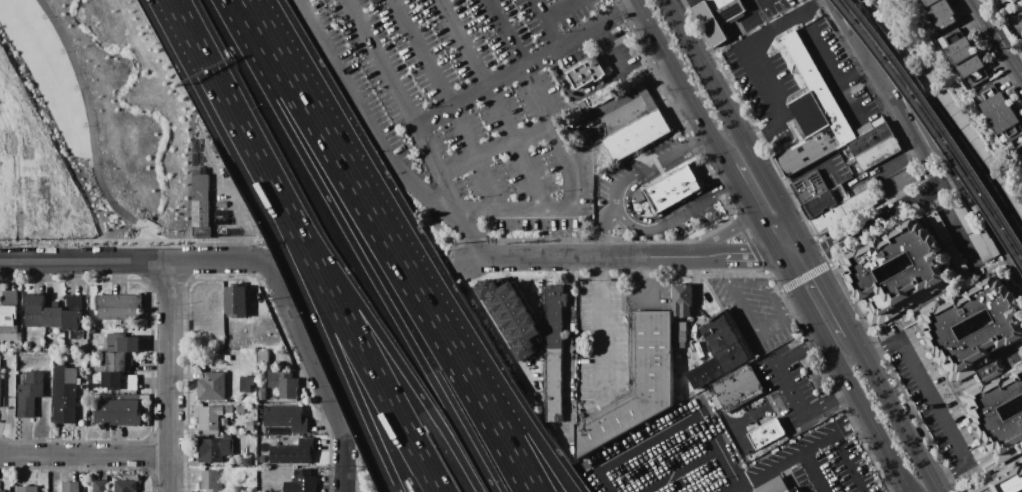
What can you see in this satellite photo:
road: (759, 0)
building: (1016, 0)
building: (1001, 2)
road: (679, 3)
road: (762, 7)
road: (562, 11)
building: (942, 13)
street lamp: (43, 18)
building: (718, 18)
road: (547, 25)
road: (770, 33)
road: (998, 36)
park: (906, 41)
road: (607, 51)
street lamp: (62, 53)
building: (966, 57)
road: (529, 67)
road: (854, 67)
building: (587, 73)
road: (526, 77)
road: (682, 83)
road: (295, 87)
street lamp: (75, 90)
road: (891, 92)
road: (575, 96)
road: (496, 102)
parking lot: (479, 103)
road: (448, 104)
building: (583, 105)
building: (997, 109)
building: (813, 114)
railway: (933, 123)
crop: (78, 125)
building: (635, 125)
street lamp: (85, 127)
building: (869, 127)
road: (741, 129)
road: (419, 130)
railway: (927, 131)
road: (92, 136)
road: (942, 138)
building: (870, 140)
road: (495, 146)
road: (251, 149)
building: (1021, 149)
building: (878, 154)
building: (1020, 159)
street lamp: (88, 164)
road: (654, 164)
road: (805, 170)
road: (976, 175)
road: (956, 177)
road: (420, 182)
building: (810, 187)
building: (674, 189)
road: (904, 189)
building: (639, 198)
street lamp: (103, 202)
building: (826, 202)
building: (859, 202)
building: (201, 204)
road: (371, 212)
road: (755, 212)
building: (222, 217)
building: (963, 217)
road: (675, 219)
building: (829, 220)
road: (878, 223)
street lamp: (134, 229)
building: (940, 229)
road: (603, 231)
road: (725, 235)
building: (983, 245)
road: (584, 259)
road: (737, 259)
road: (797, 259)
building: (957, 259)
road: (134, 262)
building: (926, 272)
road: (644, 281)
road: (765, 284)
road: (833, 296)
road: (934, 297)
building: (682, 300)
building: (236, 301)
building: (119, 307)
building: (9, 308)
road: (743, 310)
building: (35, 312)
road: (797, 314)
building: (54, 315)
building: (75, 316)
building: (510, 317)
building: (1003, 329)
road: (597, 330)
building: (92, 331)
road: (416, 335)
building: (120, 344)
building: (3, 348)
building: (720, 350)
building: (554, 353)
road: (569, 355)
building: (264, 357)
building: (116, 363)
road: (487, 369)
road: (466, 370)
road: (316, 374)
road: (846, 375)
road: (174, 377)
building: (638, 381)
building: (120, 382)
building: (284, 384)
building: (0, 385)
road: (414, 385)
building: (212, 386)
building: (738, 388)
road: (789, 389)
building: (30, 394)
building: (65, 394)
building: (262, 394)
road: (382, 395)
road: (358, 400)
road: (934, 401)
building: (717, 403)
building: (994, 412)
building: (117, 413)
road: (898, 413)
building: (286, 418)
building: (210, 419)
building: (250, 426)
building: (767, 433)
road: (717, 436)
building: (216, 449)
road: (629, 452)
building: (293, 453)
road: (801, 453)
road: (87, 460)
road: (849, 463)
road: (684, 469)
road: (815, 472)
building: (211, 481)
building: (302, 482)
building: (1004, 482)
building: (100, 485)
building: (71, 486)
building: (124, 486)
building: (776, 486)
building: (24, 489)
building: (2, 491)

